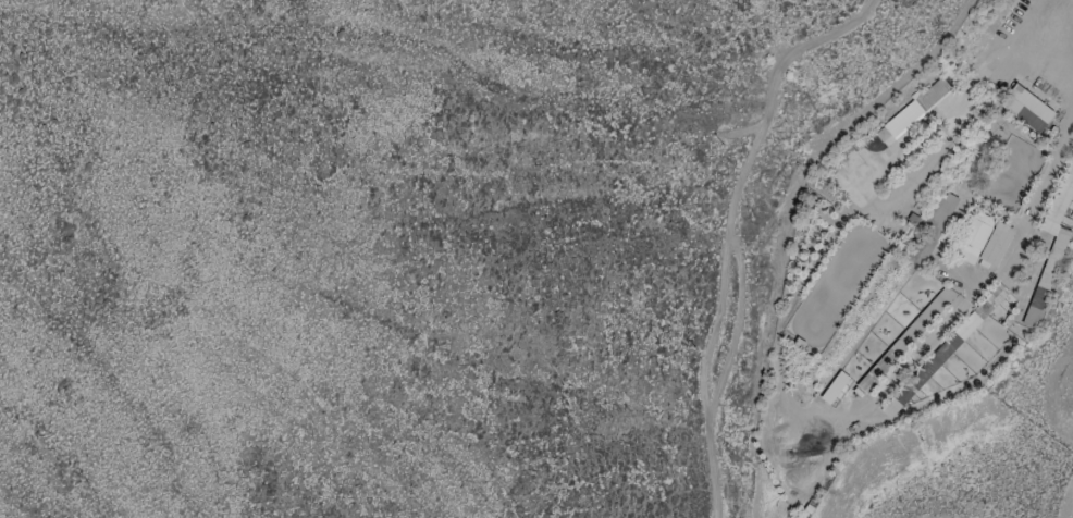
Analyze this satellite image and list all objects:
road: (767, 104)
building: (916, 106)
building: (1026, 108)
road: (750, 230)
building: (973, 237)
building: (995, 243)
building: (1049, 245)
building: (983, 307)
building: (834, 386)

